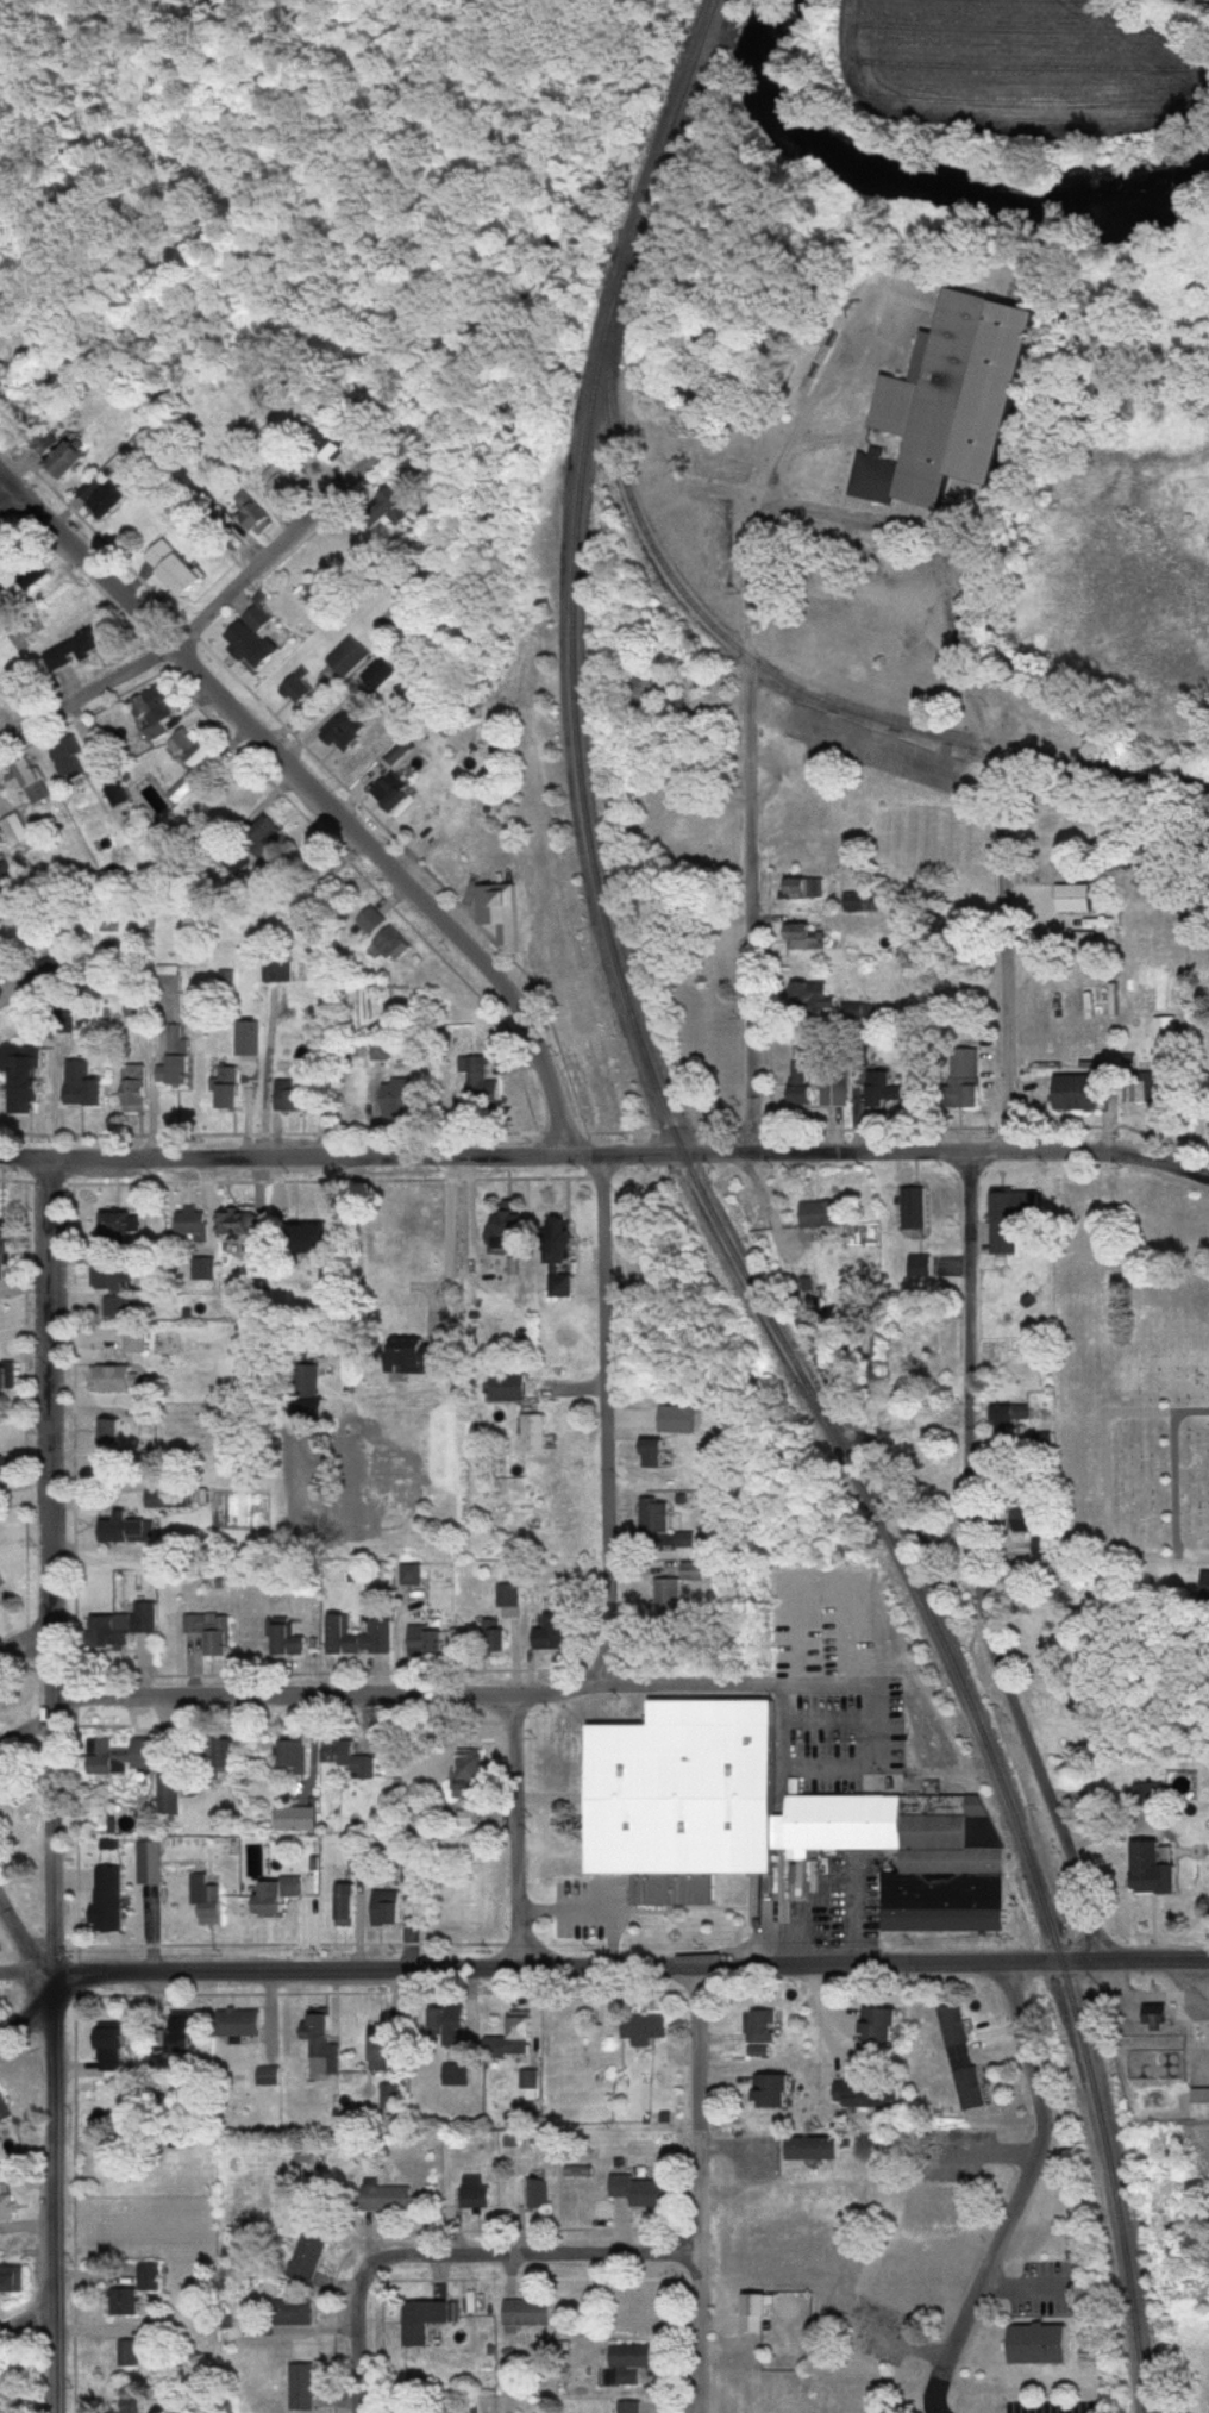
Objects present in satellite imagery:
river: (913, 179)
building: (938, 405)
building: (337, 445)
building: (77, 461)
building: (288, 481)
building: (106, 495)
road: (11, 496)
road: (828, 511)
building: (263, 519)
building: (163, 554)
building: (36, 576)
building: (188, 576)
road: (850, 585)
road: (192, 626)
building: (255, 640)
building: (80, 651)
building: (347, 656)
railway: (783, 679)
building: (299, 687)
building: (666, 712)
building: (155, 713)
building: (355, 730)
building: (195, 749)
building: (70, 762)
building: (33, 775)
building: (183, 788)
road: (314, 792)
building: (267, 831)
building: (18, 832)
road: (1004, 848)
road: (750, 855)
building: (7, 889)
building: (789, 890)
building: (1065, 900)
building: (859, 902)
building: (506, 914)
building: (797, 937)
building: (388, 939)
building: (277, 973)
building: (226, 980)
building: (803, 995)
building: (145, 1008)
building: (850, 1012)
building: (248, 1038)
building: (380, 1049)
building: (176, 1061)
building: (27, 1077)
building: (957, 1082)
building: (86, 1084)
building: (480, 1084)
building: (793, 1084)
building: (828, 1086)
building: (228, 1088)
building: (137, 1089)
building: (1136, 1092)
building: (877, 1093)
building: (295, 1094)
building: (1066, 1094)
building: (403, 1100)
building: (1204, 1130)
road: (606, 1152)
building: (907, 1209)
building: (813, 1215)
building: (188, 1224)
road: (443, 1224)
road: (466, 1224)
building: (998, 1225)
building: (239, 1226)
railway: (718, 1226)
building: (121, 1229)
building: (513, 1233)
building: (326, 1240)
building: (565, 1258)
building: (8, 1264)
building: (912, 1265)
building: (203, 1267)
building: (113, 1279)
building: (119, 1308)
building: (102, 1340)
building: (134, 1344)
building: (425, 1361)
building: (10, 1380)
building: (118, 1381)
building: (510, 1388)
park: (1130, 1412)
road: (1191, 1412)
building: (118, 1426)
building: (1007, 1426)
building: (537, 1434)
building: (647, 1454)
road: (603, 1457)
building: (8, 1470)
road: (1173, 1480)
building: (658, 1515)
building: (1016, 1521)
building: (130, 1531)
building: (1038, 1545)
road: (1189, 1557)
road: (975, 1565)
building: (2, 1581)
building: (1194, 1584)
building: (512, 1595)
building: (671, 1599)
building: (124, 1627)
building: (213, 1632)
building: (560, 1633)
building: (499, 1636)
building: (359, 1637)
building: (293, 1639)
building: (428, 1642)
road: (29, 1656)
road: (873, 1681)
road: (284, 1698)
building: (0, 1726)
building: (297, 1752)
building: (232, 1754)
building: (125, 1756)
building: (350, 1757)
building: (470, 1773)
road: (55, 1786)
building: (687, 1788)
building: (1142, 1793)
building: (299, 1819)
road: (518, 1832)
building: (150, 1863)
building: (1140, 1871)
building: (409, 1874)
building: (280, 1894)
building: (112, 1896)
building: (209, 1899)
building: (346, 1906)
building: (389, 1908)
road: (23, 1940)
road: (633, 1967)
road: (29, 1973)
building: (1146, 2015)
building: (242, 2023)
building: (443, 2024)
building: (888, 2024)
building: (526, 2026)
building: (763, 2027)
building: (647, 2030)
road: (27, 2032)
building: (181, 2040)
building: (325, 2043)
building: (117, 2050)
building: (966, 2057)
building: (459, 2075)
building: (270, 2076)
building: (779, 2090)
building: (872, 2093)
building: (394, 2098)
building: (1197, 2105)
building: (7, 2107)
building: (822, 2149)
road: (700, 2189)
building: (643, 2192)
road: (1019, 2192)
building: (477, 2194)
building: (535, 2195)
building: (389, 2200)
building: (6, 2203)
building: (936, 2207)
building: (311, 2258)
road: (463, 2258)
building: (12, 2280)
building: (909, 2282)
road: (1022, 2286)
building: (139, 2293)
building: (296, 2313)
building: (759, 2314)
road: (30, 2317)
building: (531, 2317)
building: (427, 2320)
building: (1029, 2345)
building: (132, 2353)
building: (633, 2356)
building: (0, 2386)
building: (306, 2387)
building: (132, 2405)
building: (628, 2407)

